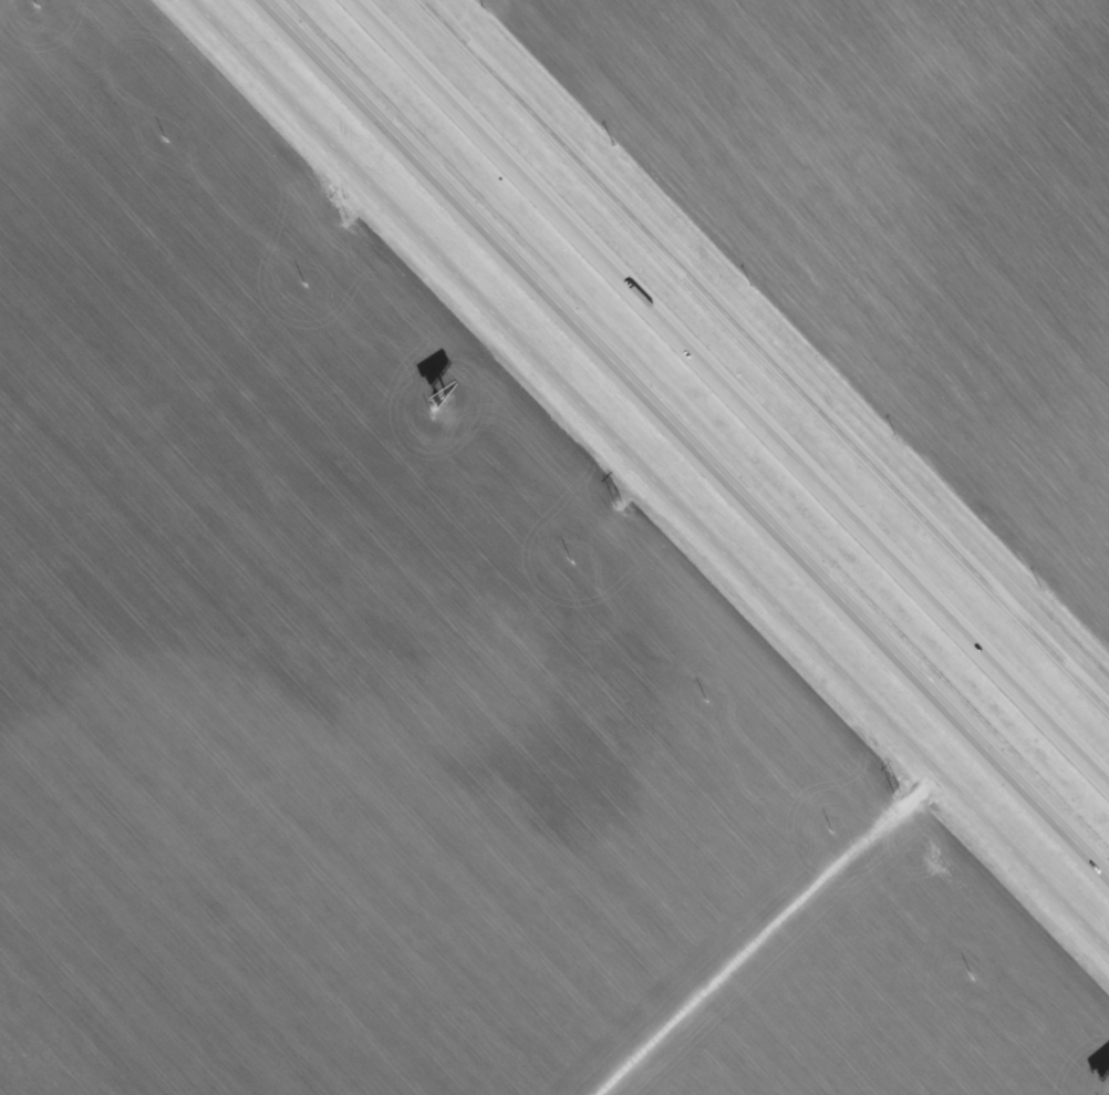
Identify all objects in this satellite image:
power tower: (346, 221)
road: (769, 351)
road: (729, 391)
road: (686, 437)
road: (650, 476)
power tower: (619, 504)
power tower: (898, 793)

